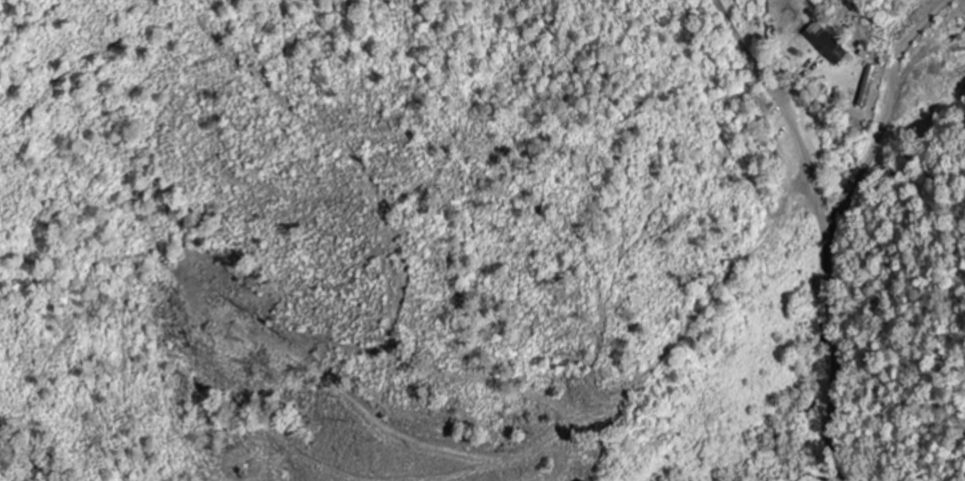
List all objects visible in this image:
building: (825, 43)

